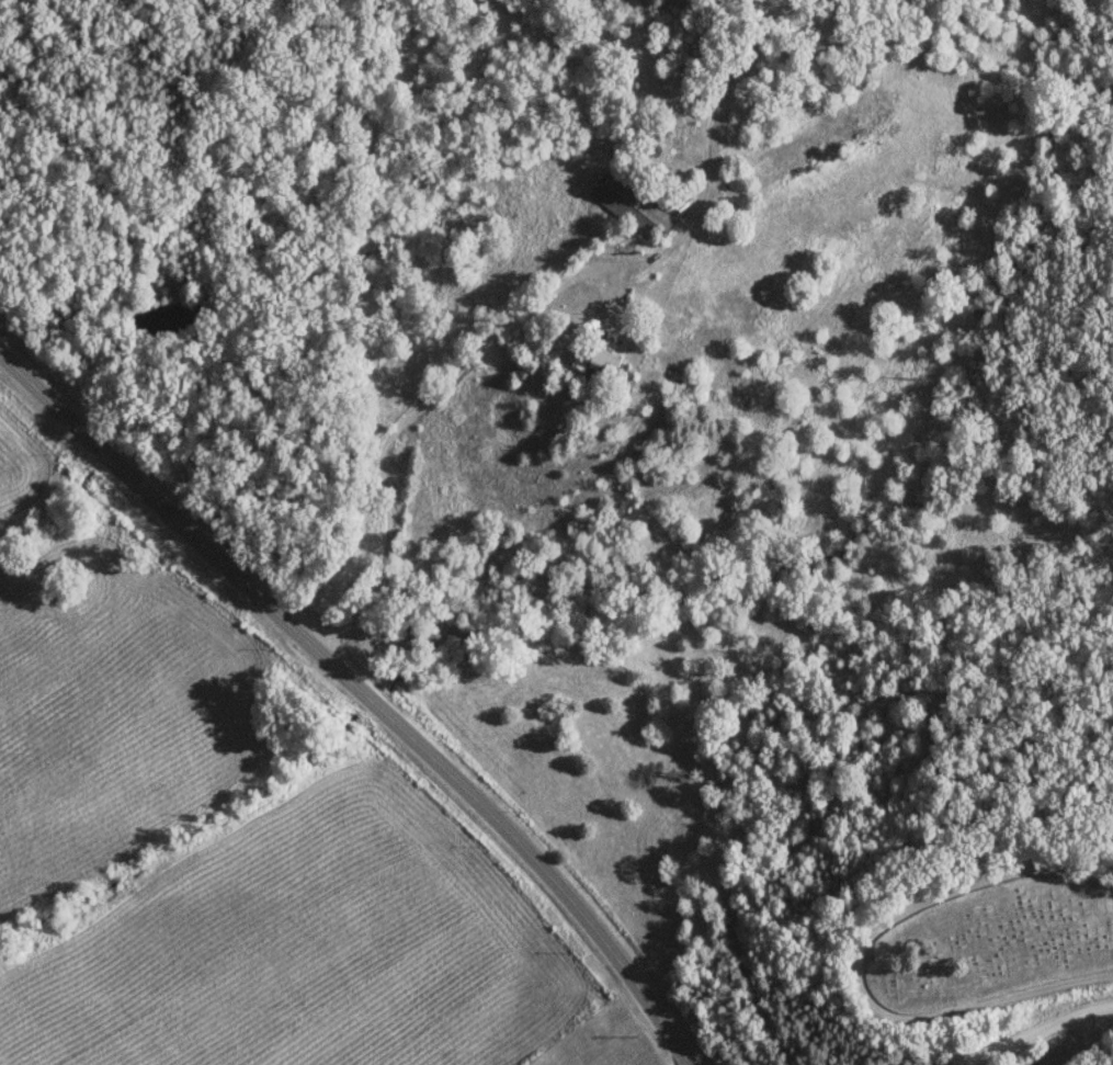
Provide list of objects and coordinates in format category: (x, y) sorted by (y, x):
building: (820, 136)
building: (632, 203)
building: (598, 359)
road: (433, 389)
road: (362, 690)
park: (976, 942)
road: (1037, 1028)

